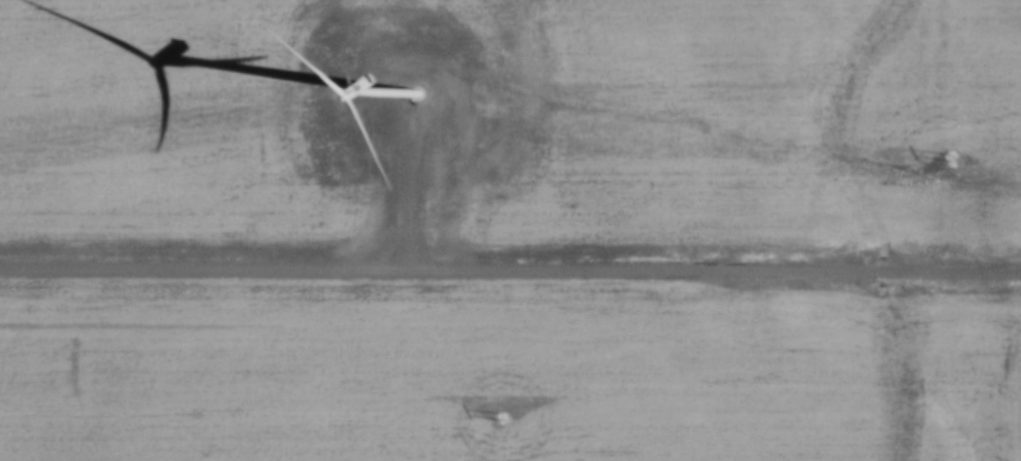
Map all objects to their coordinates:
wind turbine: (397, 87)

